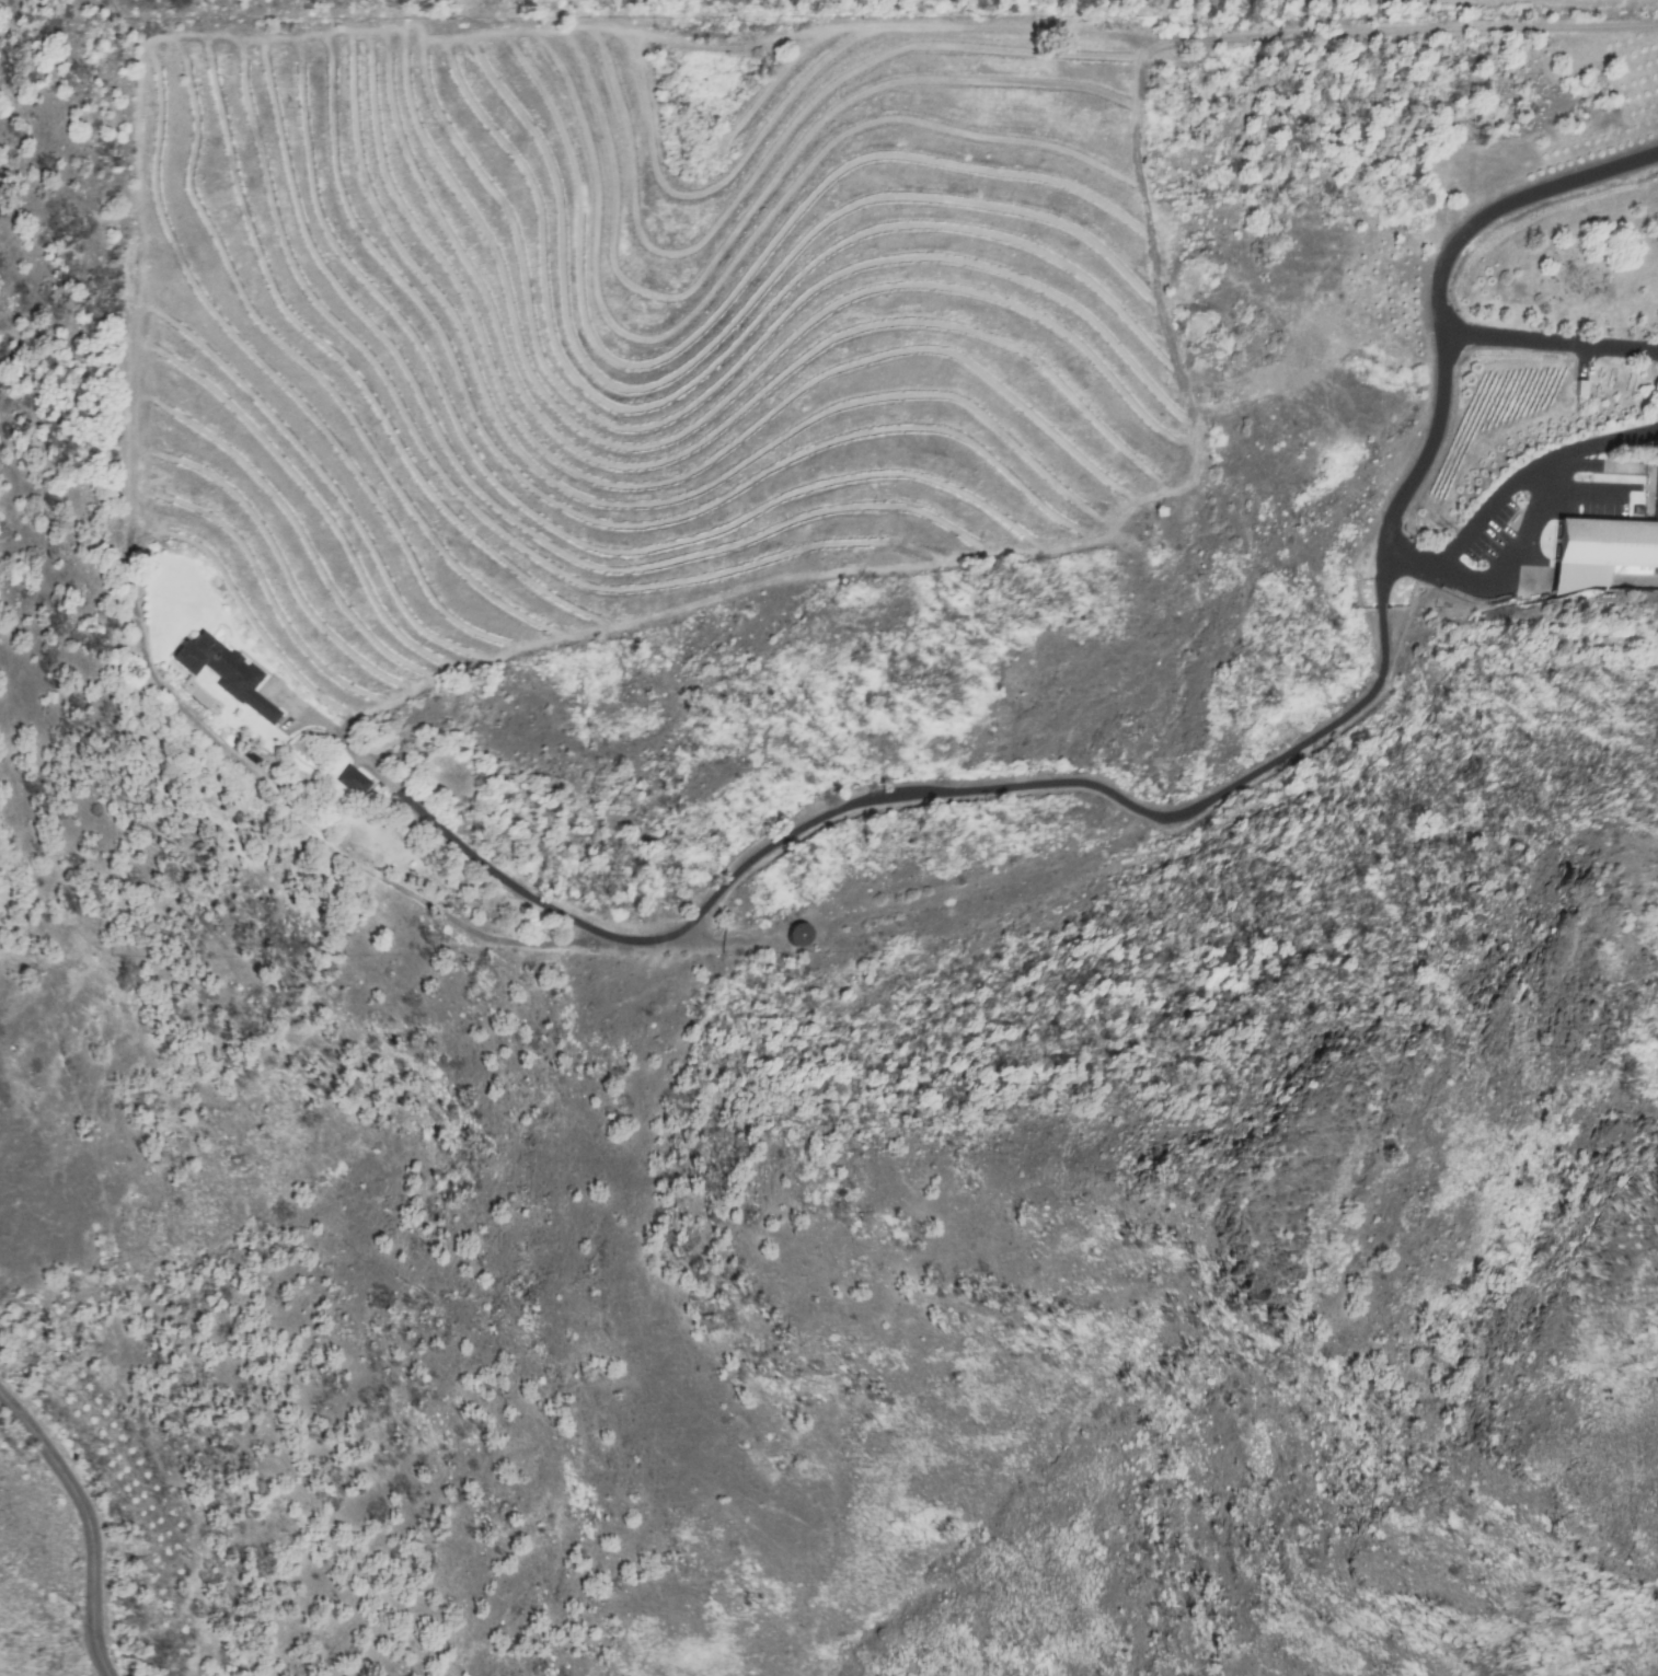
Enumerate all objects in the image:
road: (1508, 206)
road: (1550, 342)
road: (1487, 509)
building: (1600, 547)
road: (1443, 575)
building: (222, 673)
building: (350, 782)
road: (906, 796)
building: (796, 936)
road: (85, 1524)

